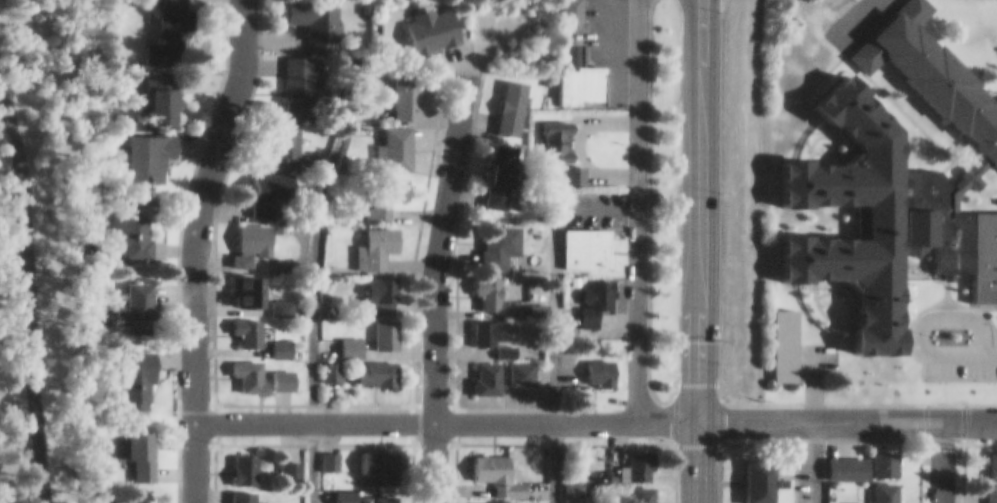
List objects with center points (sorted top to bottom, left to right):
building: (567, 11)
building: (302, 19)
building: (425, 21)
building: (175, 29)
building: (573, 68)
building: (294, 78)
building: (401, 85)
building: (164, 89)
building: (505, 98)
building: (752, 115)
building: (277, 130)
building: (552, 132)
building: (391, 139)
building: (153, 148)
building: (569, 165)
building: (493, 166)
building: (264, 184)
building: (378, 187)
road: (635, 207)
building: (137, 217)
building: (246, 236)
building: (492, 236)
building: (370, 239)
building: (581, 240)
road: (193, 248)
park: (41, 251)
road: (696, 251)
road: (556, 269)
road: (310, 279)
road: (433, 282)
building: (480, 283)
building: (374, 286)
building: (251, 287)
road: (27, 293)
building: (589, 294)
building: (141, 300)
building: (489, 323)
building: (241, 324)
building: (367, 333)
building: (273, 341)
building: (501, 343)
building: (325, 363)
building: (516, 364)
building: (369, 365)
building: (594, 365)
building: (242, 367)
building: (479, 370)
building: (136, 371)
building: (276, 371)
road: (846, 414)
road: (444, 415)
building: (145, 448)
building: (326, 451)
building: (879, 456)
building: (990, 456)
building: (633, 458)
road: (807, 458)
road: (940, 458)
building: (372, 459)
road: (550, 459)
building: (836, 459)
building: (239, 461)
building: (284, 462)
building: (491, 466)
building: (751, 475)
building: (567, 483)
building: (880, 487)
building: (989, 489)
building: (636, 490)
building: (236, 492)
building: (377, 495)
building: (140, 497)
building: (852, 498)
building: (482, 499)

